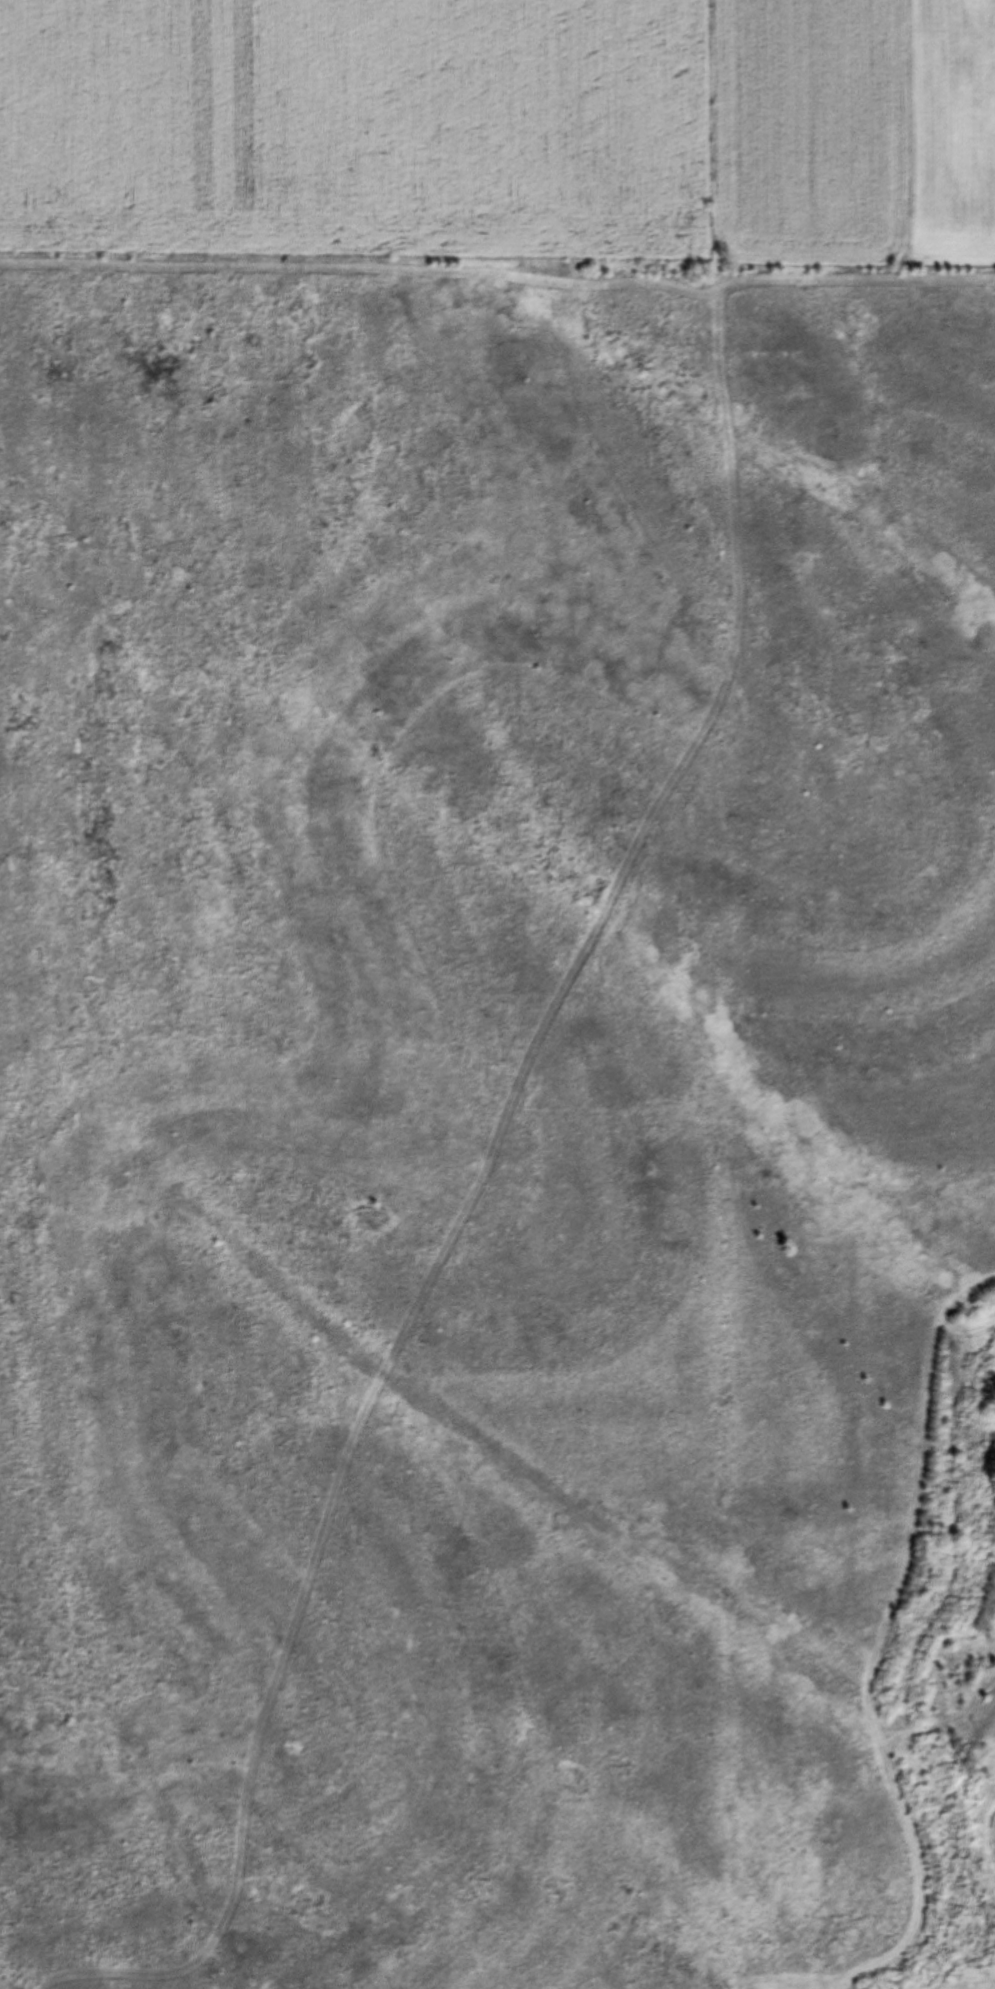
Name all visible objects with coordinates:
road: (787, 1986)

